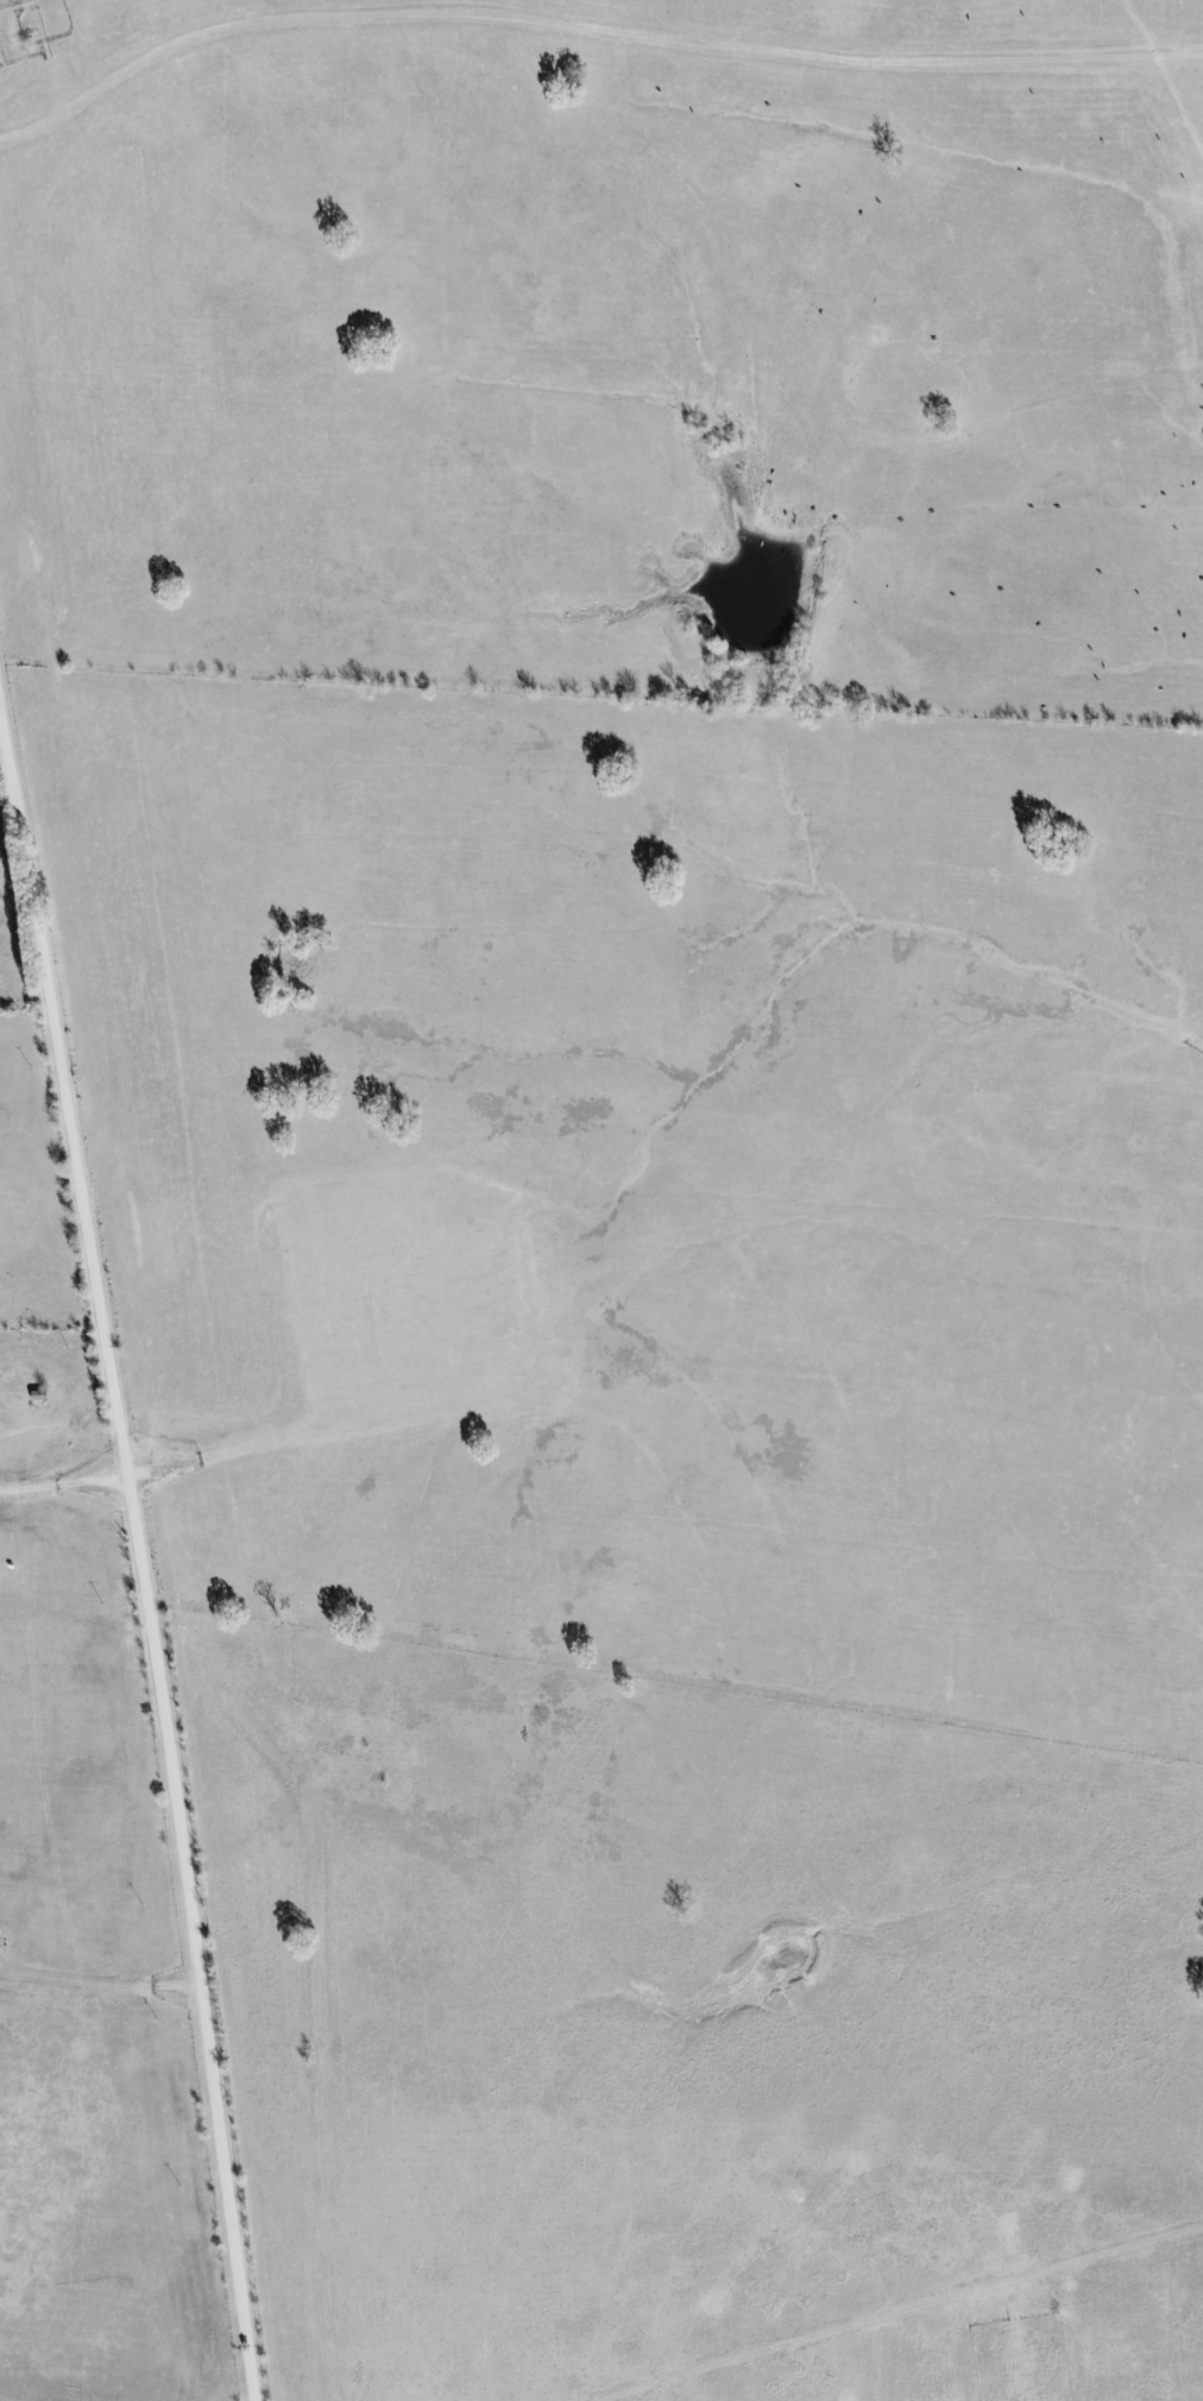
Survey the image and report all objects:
road: (586, 27)
road: (139, 1550)

